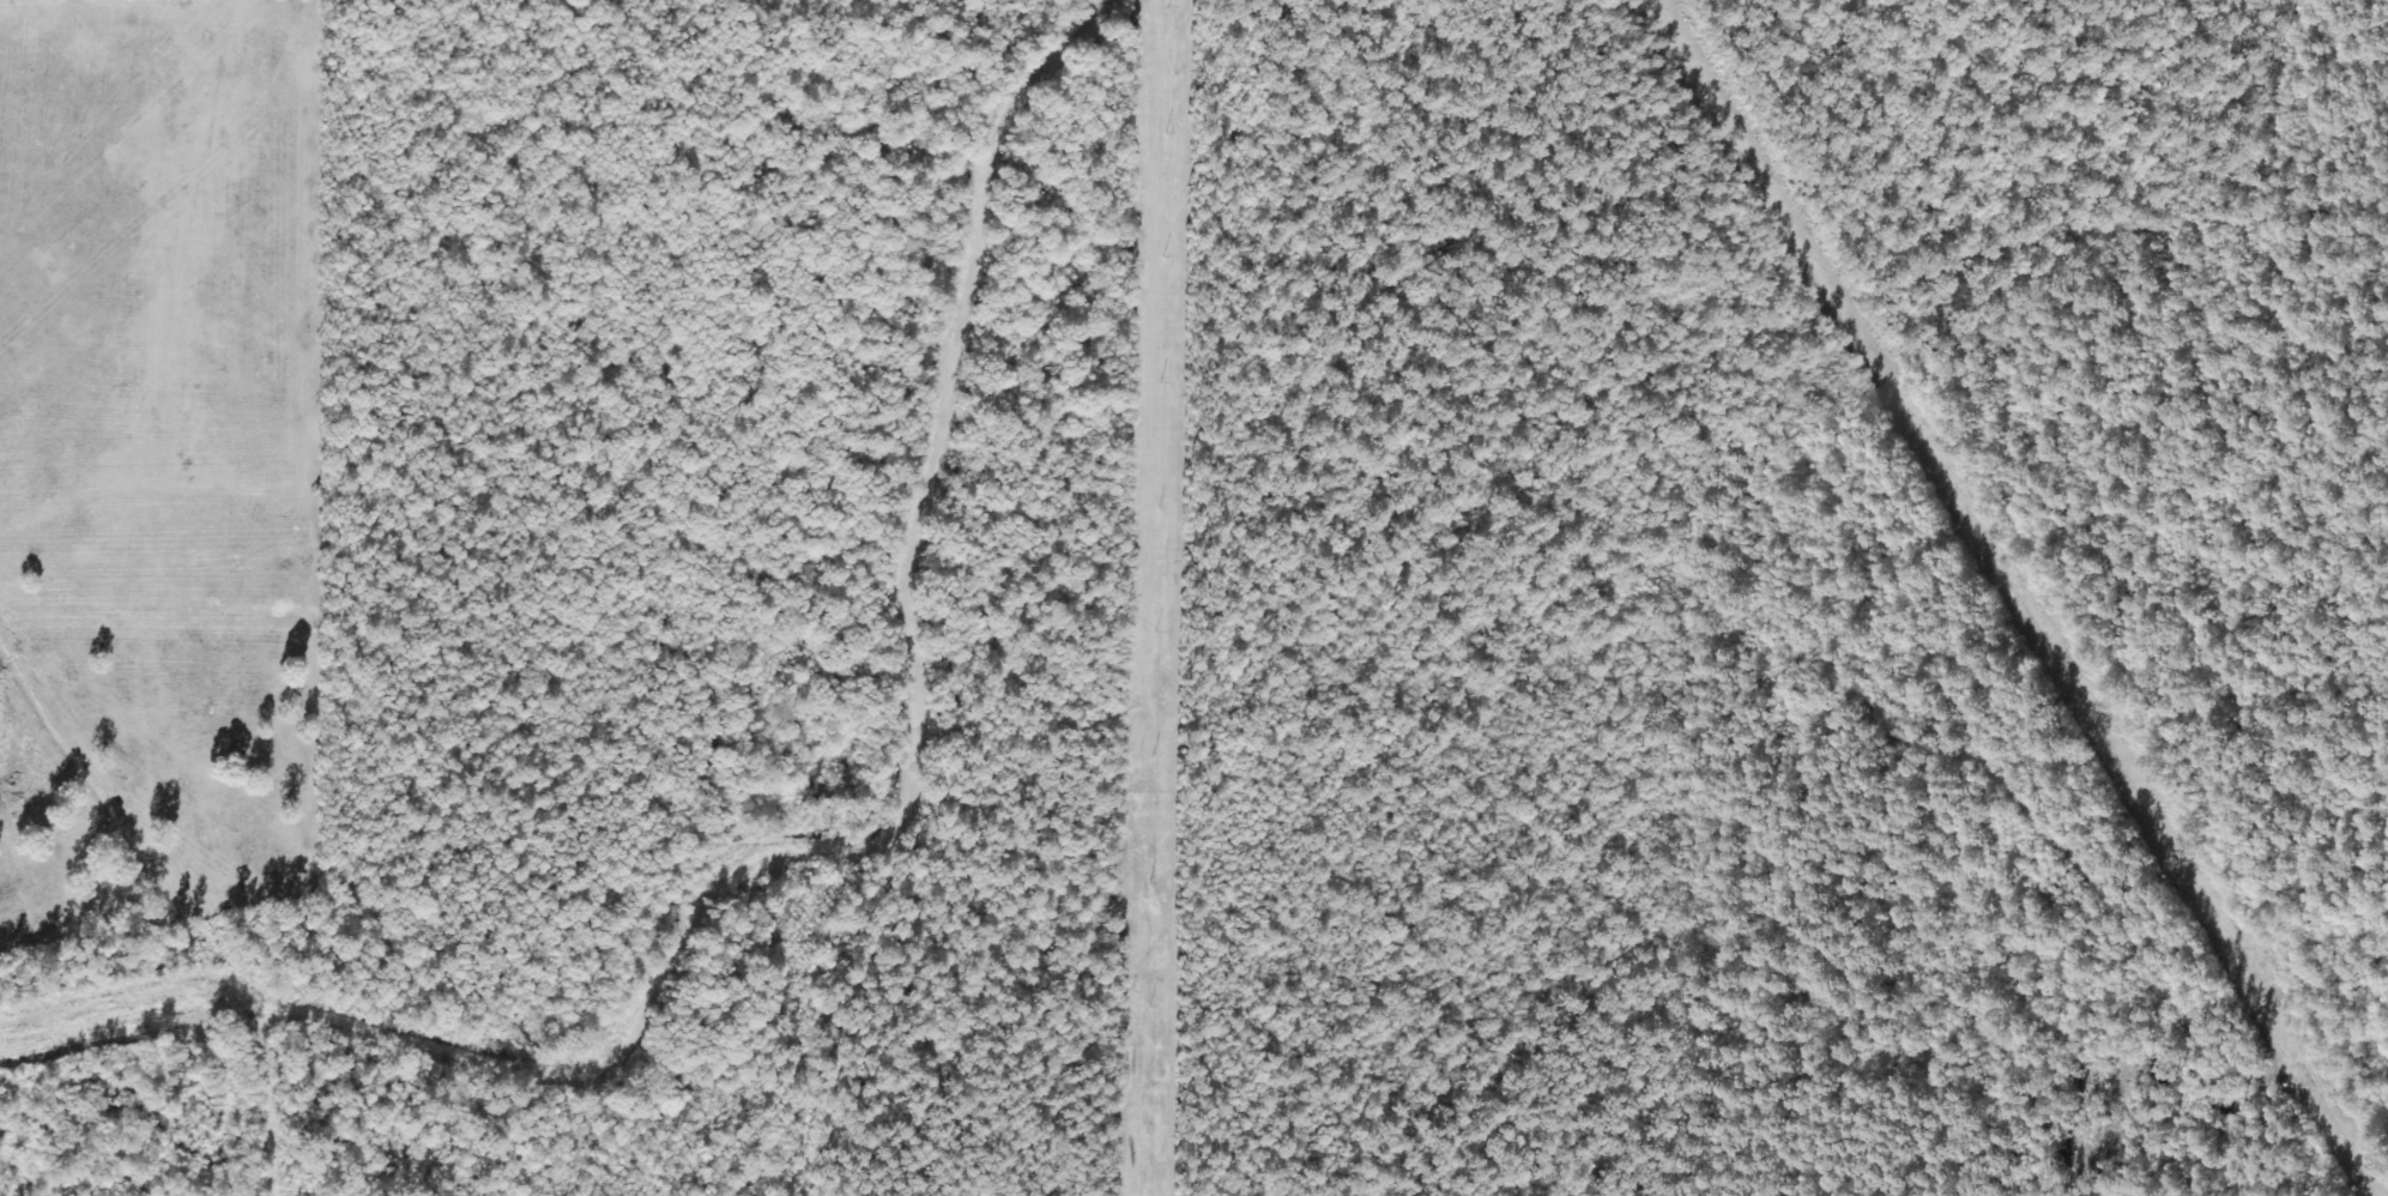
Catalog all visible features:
road: (786, 1039)
road: (217, 1106)
road: (2305, 1192)

